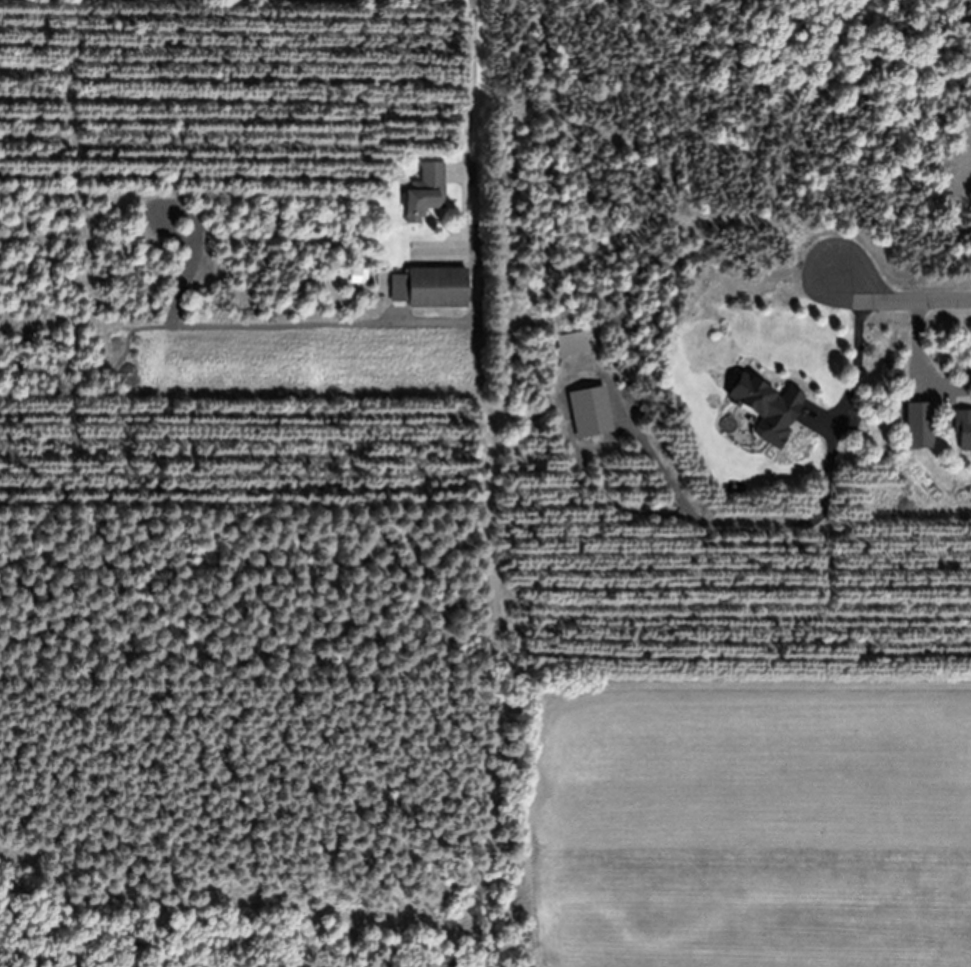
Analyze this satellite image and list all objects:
building: (424, 192)
building: (429, 287)
road: (898, 301)
building: (767, 407)
building: (590, 411)
building: (919, 425)
building: (963, 428)
crop: (751, 825)

